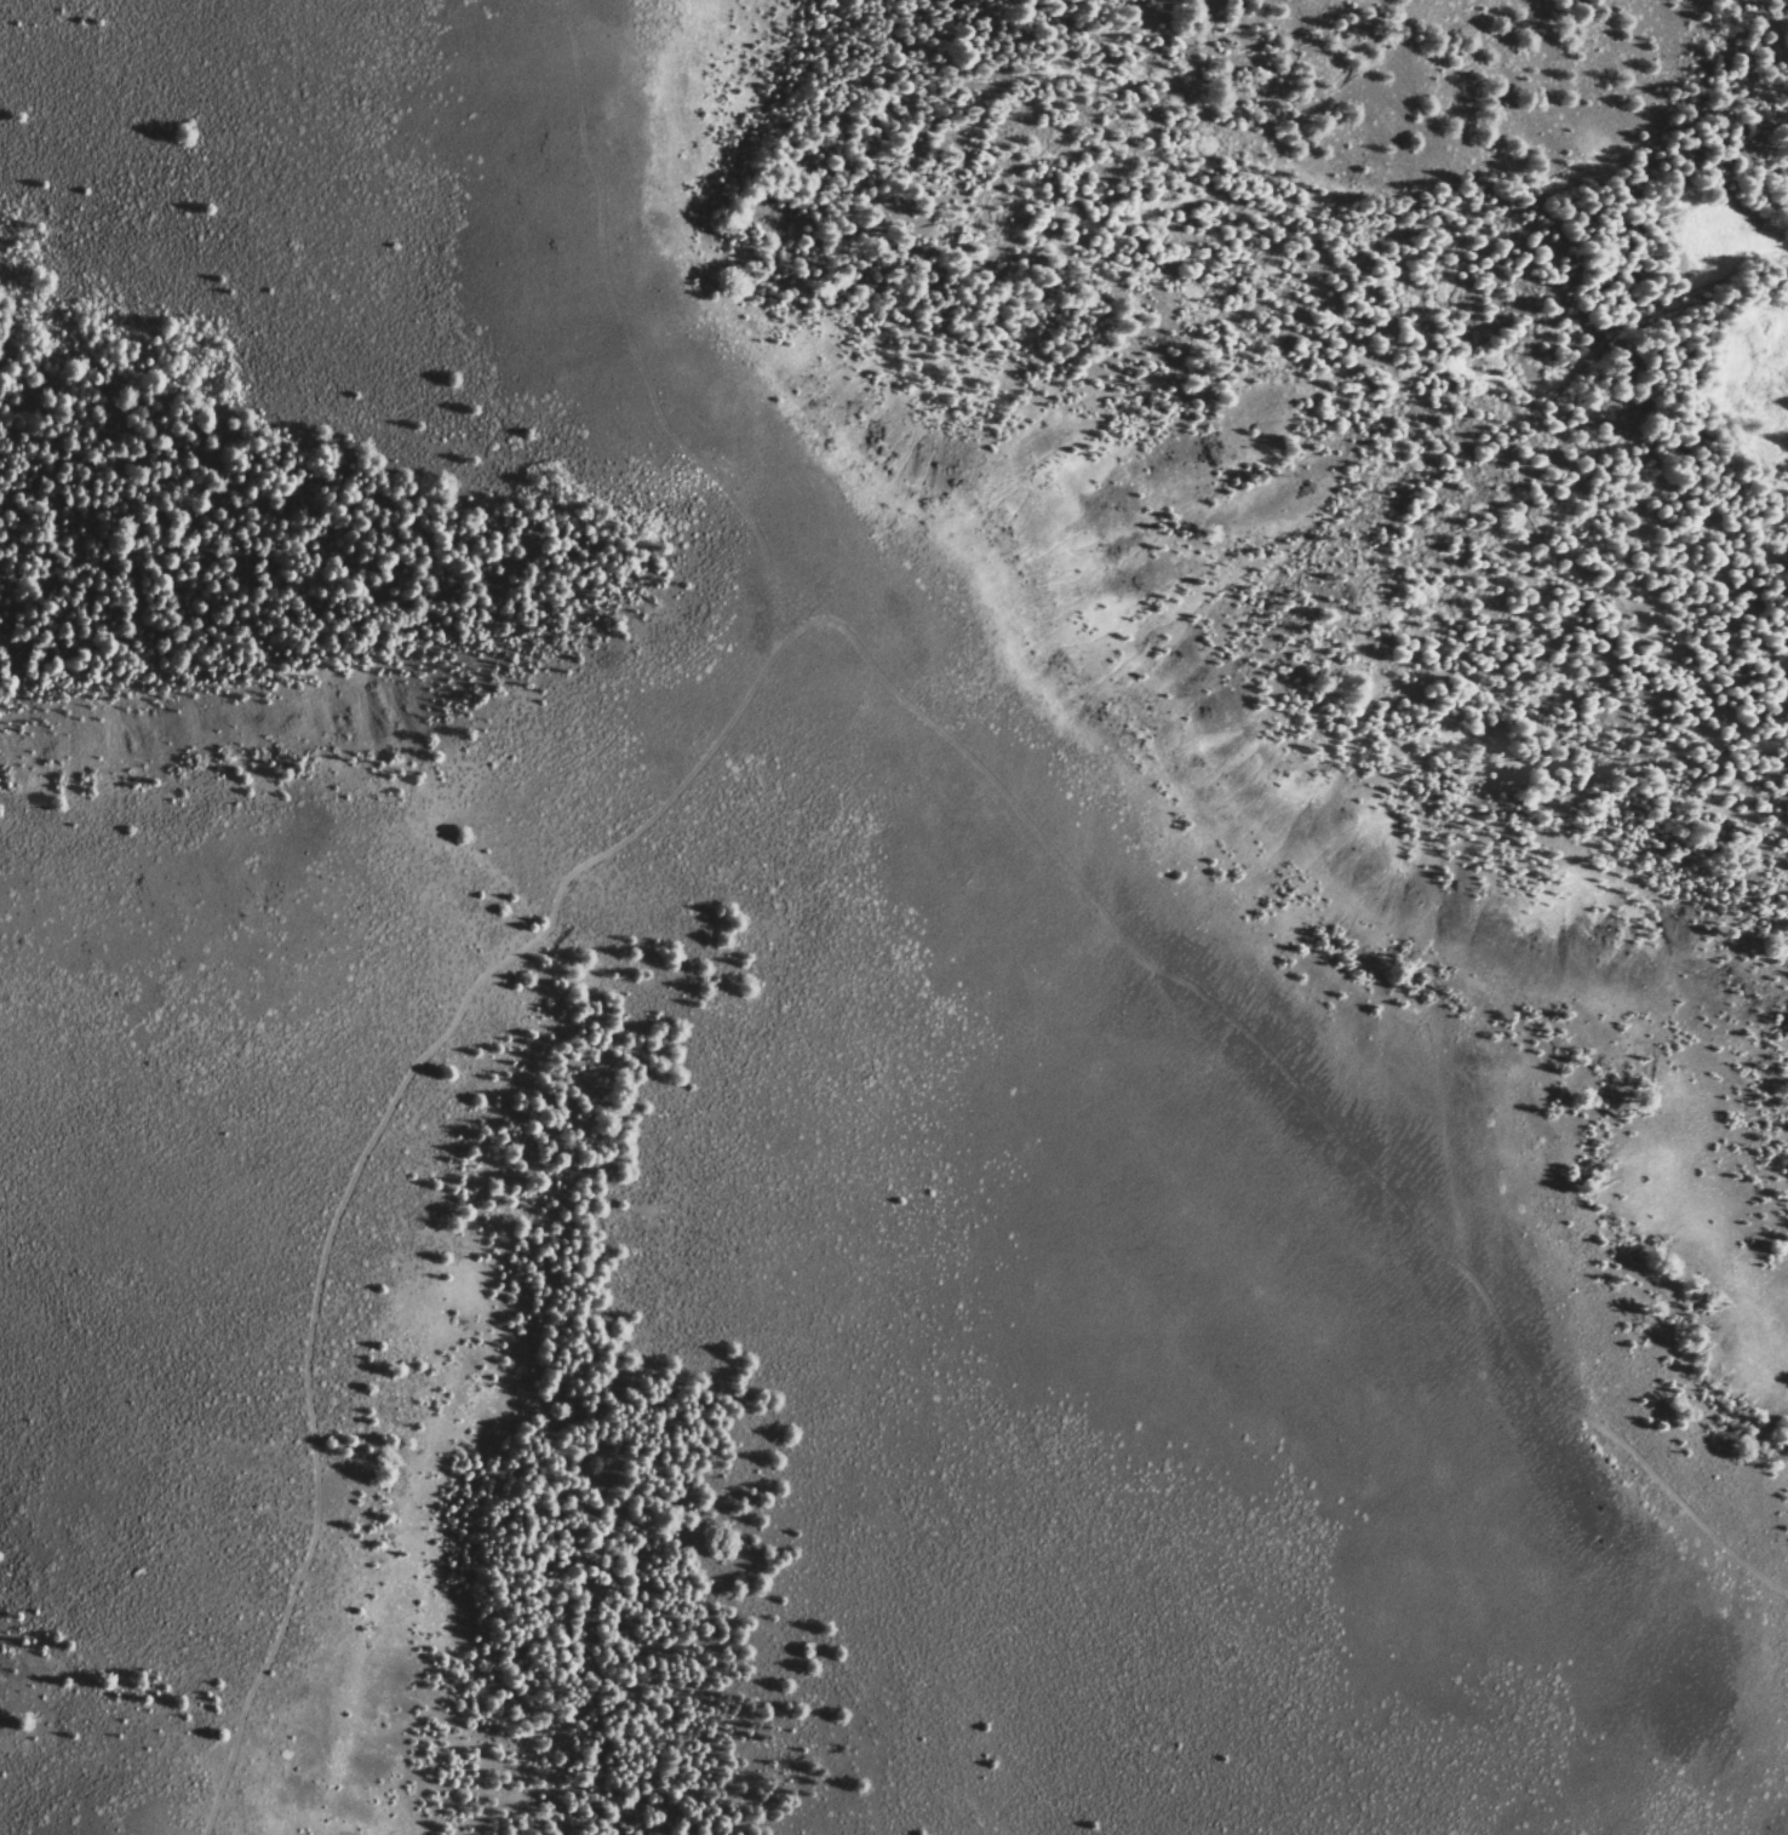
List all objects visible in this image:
road: (640, 344)
road: (801, 636)

